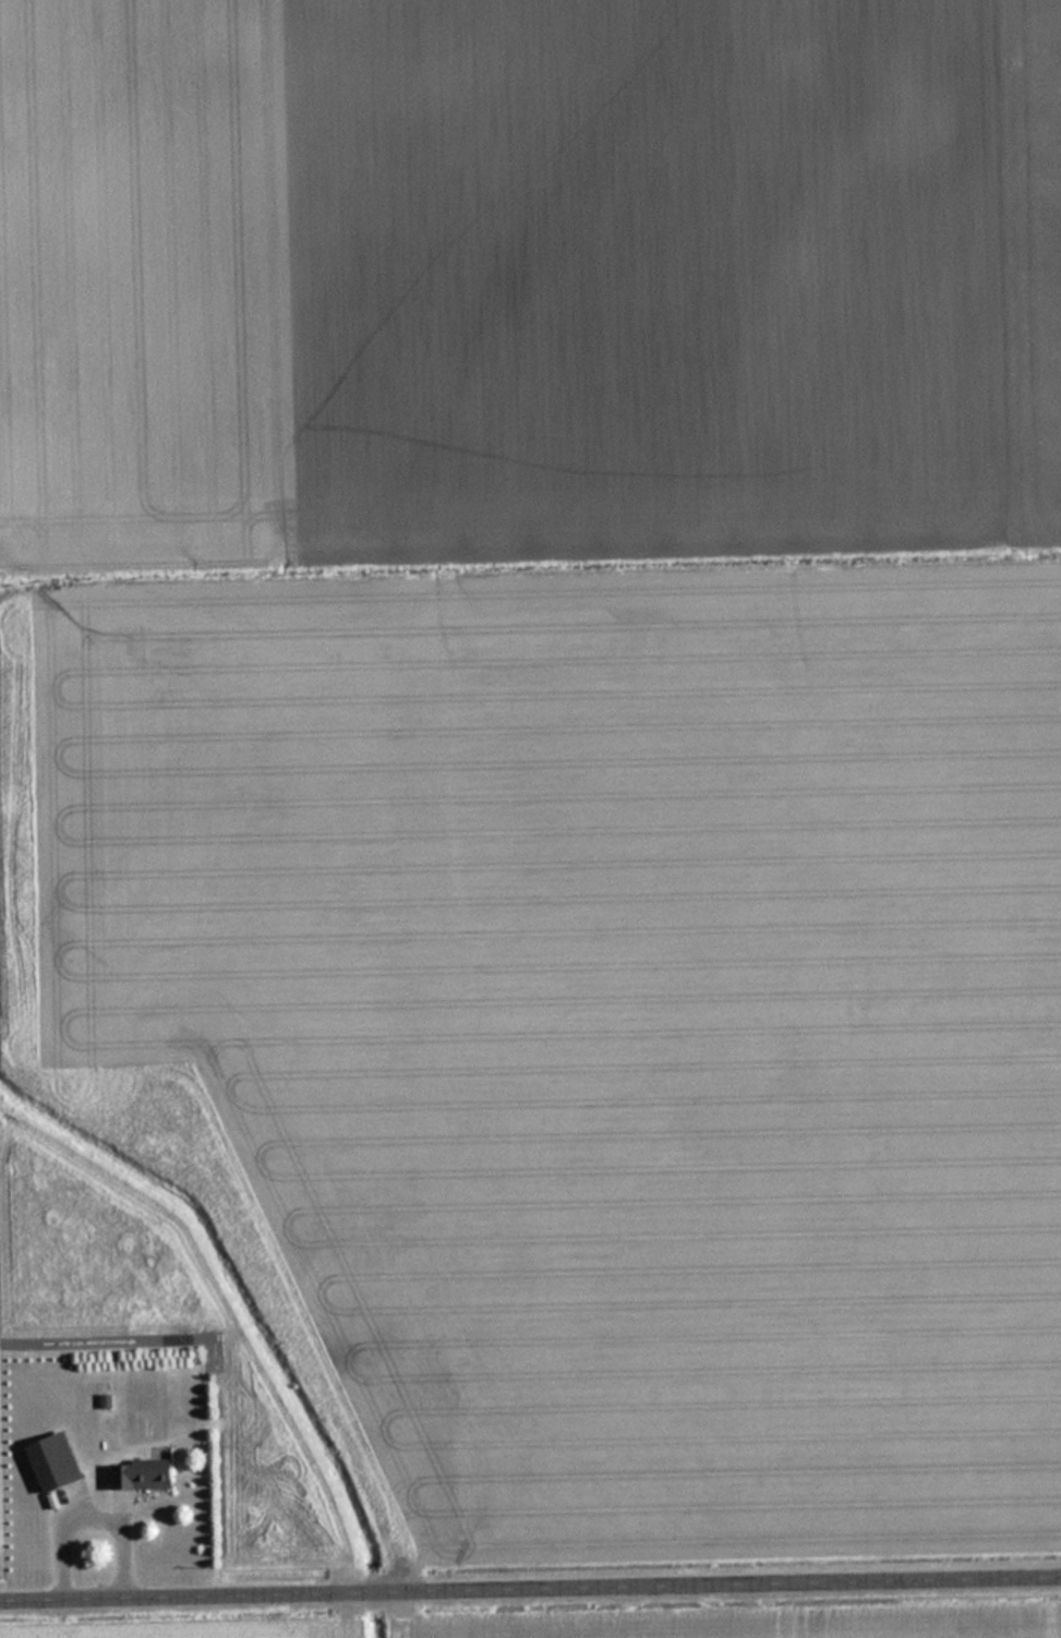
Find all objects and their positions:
building: (385, 1377)
building: (58, 1462)
building: (145, 1476)
road: (530, 1592)

